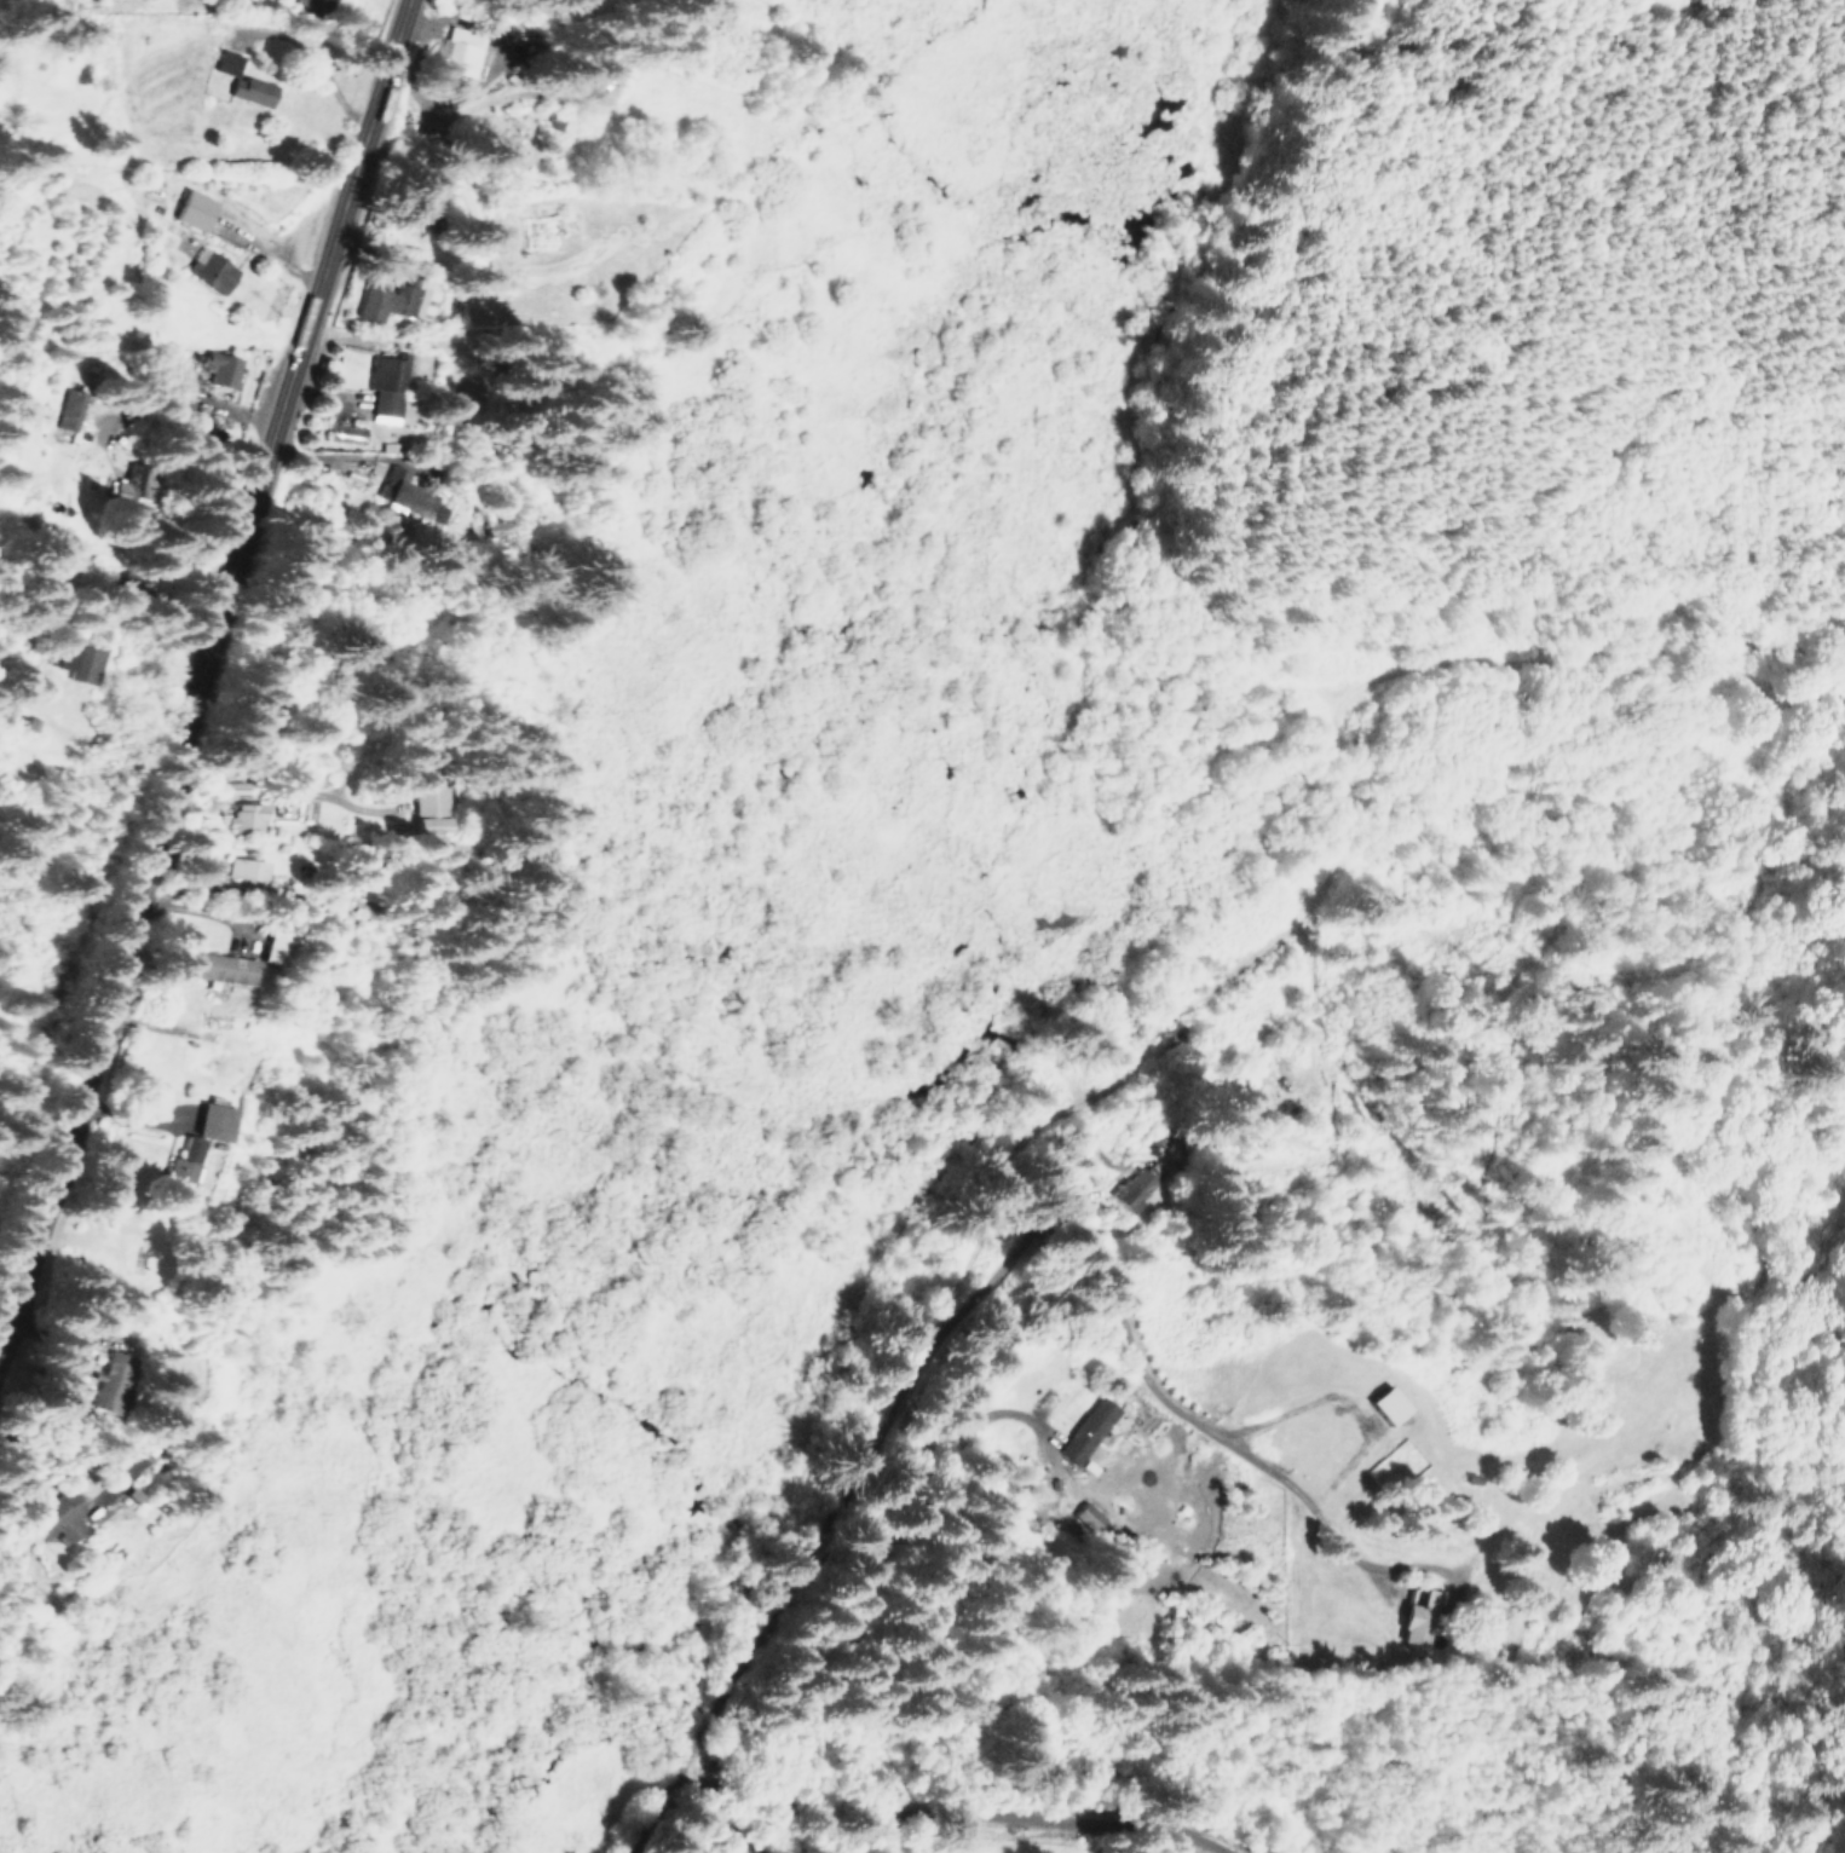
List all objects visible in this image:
building: (309, 4)
building: (456, 50)
building: (240, 79)
building: (191, 208)
building: (209, 269)
building: (394, 299)
building: (219, 366)
building: (179, 392)
building: (68, 411)
building: (345, 433)
building: (403, 492)
road: (206, 657)
building: (75, 662)
building: (425, 799)
building: (243, 815)
building: (246, 871)
building: (273, 947)
building: (221, 966)
building: (213, 1120)
building: (179, 1166)
building: (1137, 1184)
building: (106, 1382)
building: (1386, 1403)
building: (1086, 1428)
road: (630, 1437)
building: (1086, 1514)
building: (56, 1518)
road: (722, 1539)
road: (8, 1578)
building: (1419, 1617)
road: (763, 1806)

